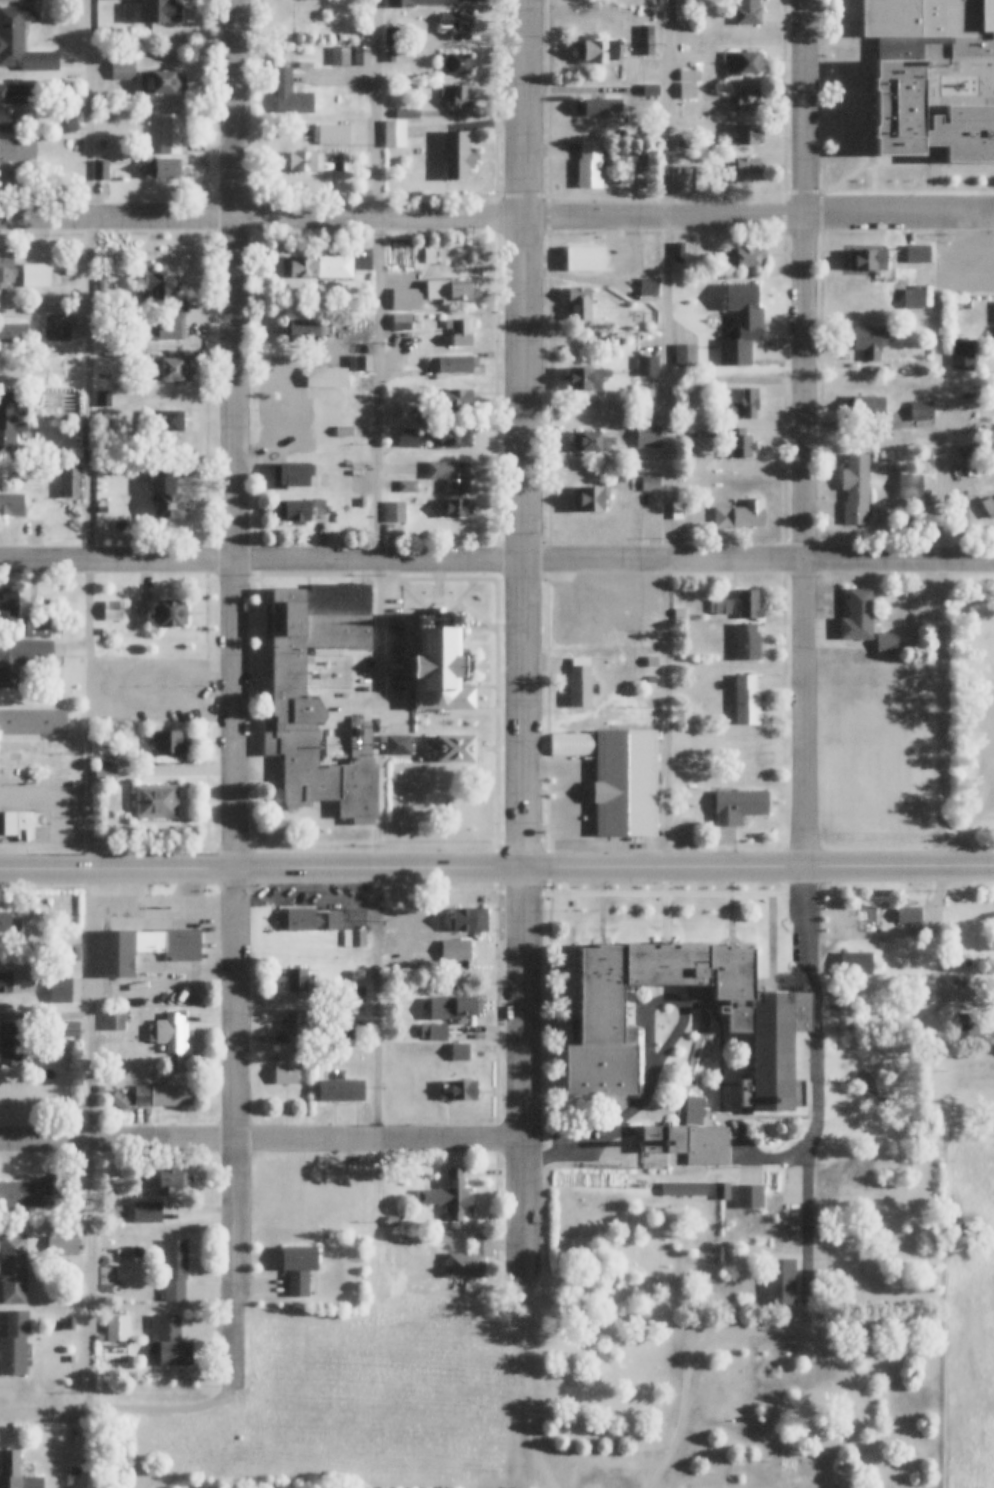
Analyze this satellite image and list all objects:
building: (418, 2)
building: (152, 11)
building: (748, 12)
building: (458, 23)
building: (363, 31)
building: (391, 36)
building: (646, 39)
building: (22, 41)
building: (598, 49)
building: (390, 53)
building: (340, 55)
building: (362, 55)
building: (455, 64)
building: (742, 64)
building: (123, 68)
building: (690, 75)
building: (159, 82)
building: (75, 86)
building: (649, 90)
building: (688, 91)
building: (901, 91)
building: (16, 93)
building: (290, 94)
building: (459, 96)
building: (747, 101)
building: (599, 106)
building: (407, 113)
building: (7, 121)
building: (73, 126)
building: (394, 133)
building: (749, 134)
building: (333, 135)
building: (684, 142)
building: (102, 144)
building: (167, 150)
building: (458, 156)
building: (14, 158)
building: (306, 161)
building: (590, 166)
building: (641, 166)
building: (743, 168)
building: (101, 170)
building: (682, 184)
road: (760, 217)
road: (263, 220)
building: (678, 251)
building: (918, 254)
building: (743, 257)
building: (429, 259)
building: (585, 259)
building: (867, 260)
building: (318, 267)
building: (71, 271)
building: (6, 274)
building: (36, 275)
road: (385, 281)
building: (161, 284)
building: (649, 284)
building: (448, 290)
building: (408, 298)
building: (740, 298)
building: (912, 299)
building: (578, 304)
building: (174, 308)
building: (402, 321)
building: (58, 327)
building: (167, 327)
building: (304, 331)
building: (461, 331)
building: (10, 333)
building: (742, 338)
building: (869, 340)
building: (606, 341)
building: (685, 354)
building: (459, 363)
building: (648, 365)
building: (171, 369)
building: (326, 378)
building: (586, 378)
building: (928, 379)
building: (696, 380)
building: (457, 398)
building: (103, 399)
building: (746, 404)
building: (860, 405)
building: (921, 410)
building: (291, 411)
building: (421, 416)
building: (171, 421)
building: (10, 423)
building: (344, 431)
road: (664, 433)
building: (456, 435)
road: (808, 435)
building: (647, 436)
building: (408, 437)
building: (592, 441)
building: (733, 441)
building: (294, 443)
building: (966, 449)
building: (293, 474)
building: (451, 475)
building: (71, 482)
building: (651, 483)
building: (407, 486)
building: (856, 494)
building: (589, 499)
building: (362, 502)
building: (12, 504)
building: (171, 504)
building: (318, 506)
building: (457, 507)
building: (988, 508)
building: (295, 510)
building: (678, 510)
building: (395, 511)
building: (740, 515)
building: (125, 521)
road: (940, 543)
road: (760, 561)
road: (263, 562)
building: (9, 604)
building: (749, 605)
building: (724, 608)
parking lot: (606, 610)
building: (170, 614)
building: (680, 615)
building: (858, 617)
building: (38, 628)
building: (120, 631)
road: (527, 631)
building: (746, 643)
building: (887, 645)
building: (21, 659)
building: (652, 662)
building: (442, 666)
building: (479, 667)
parking lot: (377, 672)
building: (651, 680)
building: (171, 682)
building: (580, 683)
road: (240, 692)
building: (747, 701)
road: (95, 704)
building: (298, 709)
building: (33, 722)
building: (361, 740)
building: (170, 743)
building: (399, 745)
building: (458, 749)
building: (632, 752)
building: (103, 761)
building: (761, 761)
building: (106, 775)
building: (613, 797)
building: (156, 802)
building: (738, 806)
road: (968, 823)
building: (22, 825)
road: (873, 834)
road: (264, 870)
road: (760, 870)
road: (939, 912)
building: (306, 919)
building: (468, 919)
building: (10, 922)
building: (58, 926)
building: (401, 931)
building: (427, 932)
building: (358, 938)
building: (182, 945)
building: (456, 950)
building: (149, 952)
building: (73, 953)
building: (116, 953)
building: (961, 962)
building: (857, 963)
building: (296, 978)
building: (958, 980)
building: (7, 983)
building: (59, 990)
building: (355, 994)
road: (382, 1005)
building: (452, 1007)
parking lot: (832, 1011)
building: (114, 1020)
building: (294, 1022)
building: (769, 1024)
building: (67, 1029)
building: (434, 1031)
building: (634, 1032)
building: (169, 1033)
building: (280, 1039)
building: (10, 1044)
building: (459, 1051)
building: (151, 1067)
building: (286, 1068)
road: (863, 1071)
road: (817, 1088)
building: (341, 1089)
building: (457, 1090)
building: (165, 1095)
road: (878, 1096)
building: (694, 1109)
road: (264, 1141)
chimney: (666, 1141)
building: (689, 1142)
road: (761, 1158)
parking lot: (749, 1174)
building: (172, 1182)
building: (684, 1189)
building: (722, 1191)
building: (31, 1193)
building: (449, 1195)
parking lot: (791, 1210)
building: (147, 1212)
building: (442, 1238)
building: (64, 1245)
building: (469, 1260)
building: (13, 1267)
building: (298, 1268)
building: (175, 1269)
building: (781, 1280)
building: (118, 1327)
building: (100, 1337)
building: (169, 1340)
building: (14, 1343)
road: (690, 1356)
road: (528, 1379)
road: (122, 1409)
building: (74, 1471)
building: (16, 1472)
building: (732, 1479)
road: (540, 1480)

